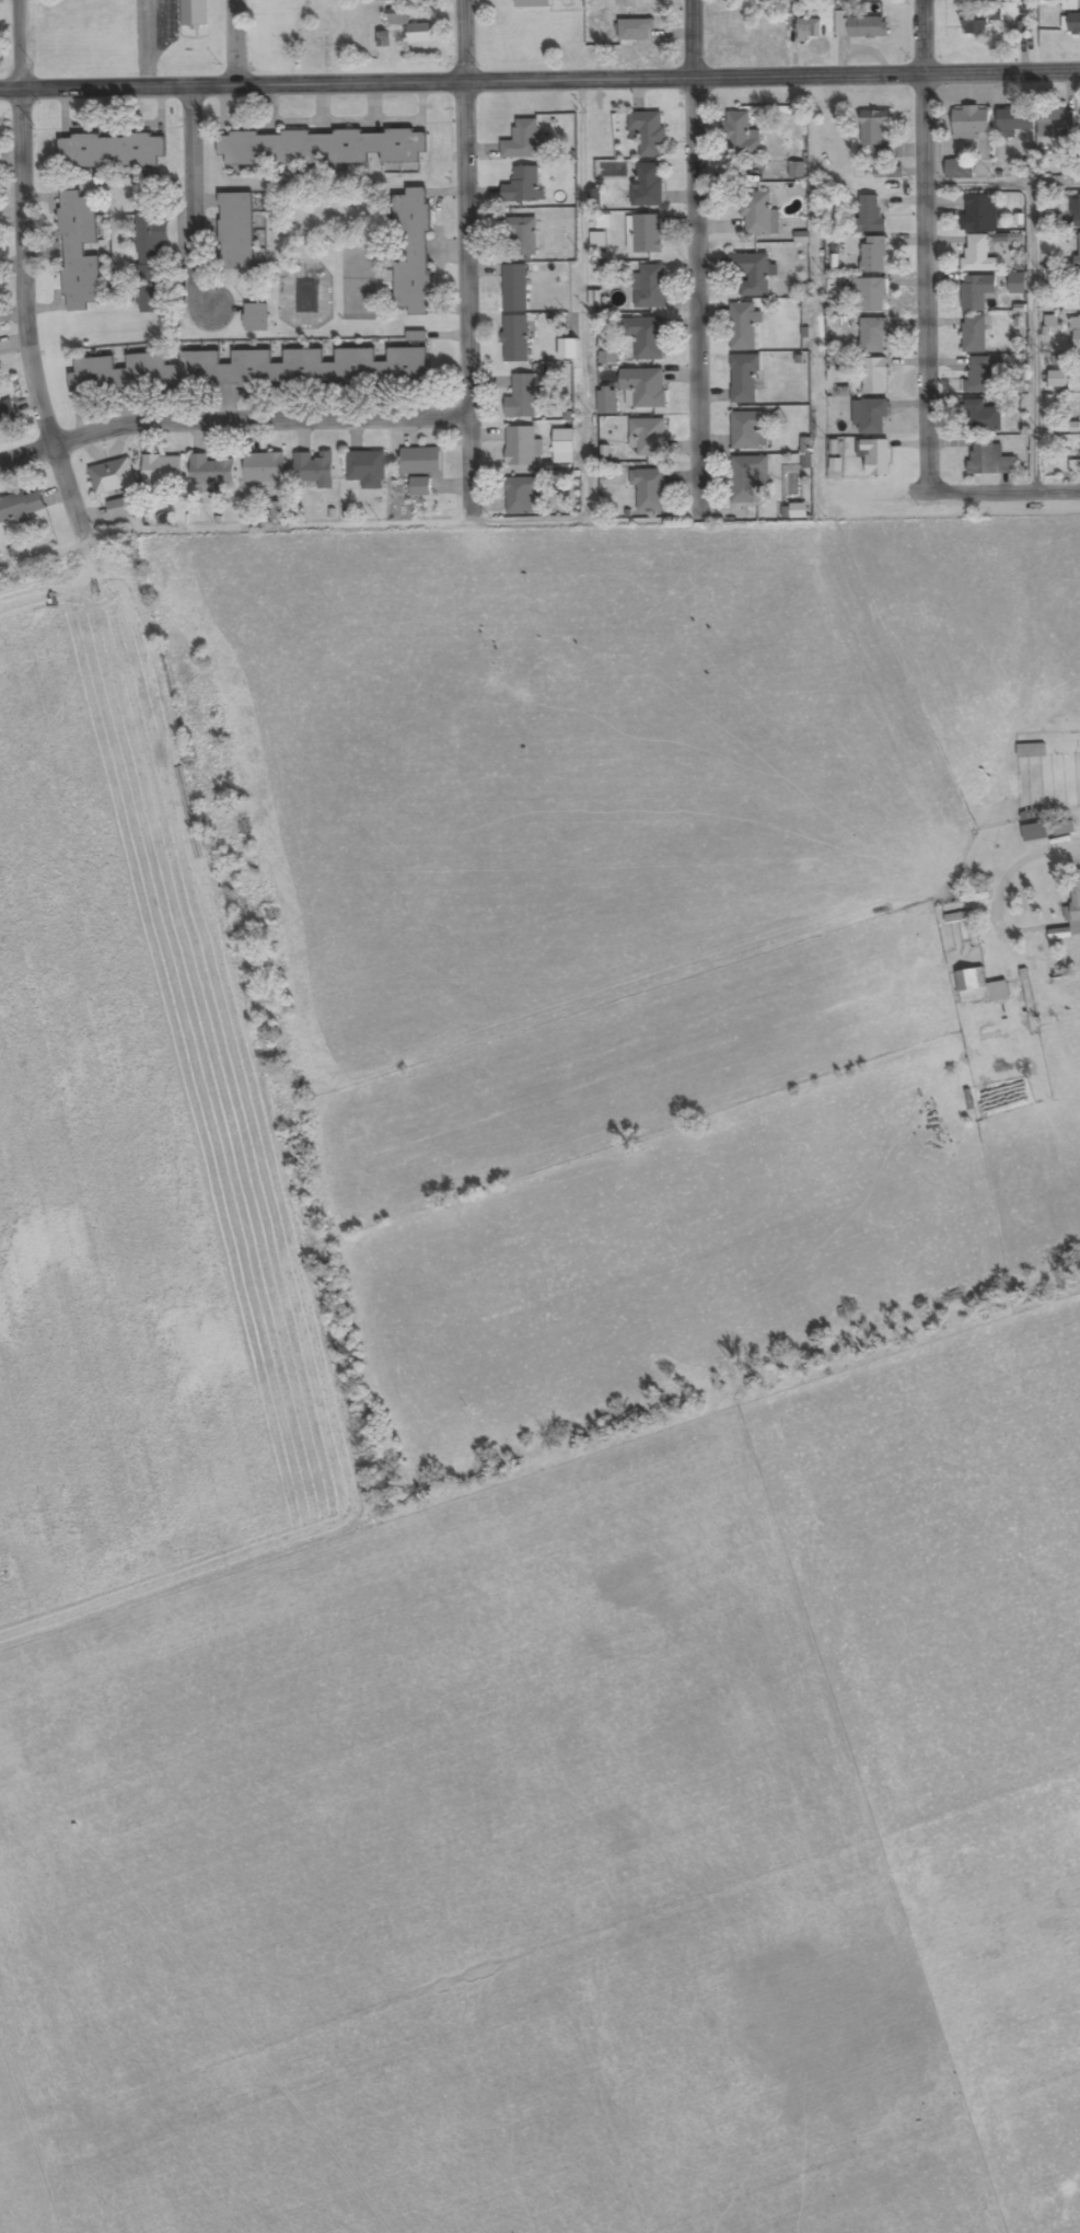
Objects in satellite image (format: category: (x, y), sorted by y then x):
building: (533, 3)
building: (194, 13)
building: (397, 18)
building: (978, 22)
building: (1071, 24)
building: (861, 28)
building: (636, 31)
building: (808, 31)
building: (420, 33)
building: (313, 34)
road: (241, 44)
road: (539, 81)
building: (1055, 120)
building: (1014, 122)
building: (972, 123)
building: (874, 127)
building: (649, 131)
building: (741, 136)
building: (522, 140)
building: (320, 147)
building: (111, 151)
building: (960, 169)
building: (648, 184)
road: (1002, 184)
building: (523, 185)
road: (193, 198)
building: (1077, 211)
building: (979, 212)
building: (759, 215)
building: (869, 215)
building: (240, 231)
building: (647, 233)
building: (520, 235)
road: (925, 239)
road: (699, 242)
building: (413, 251)
building: (1078, 251)
building: (79, 252)
road: (469, 254)
building: (873, 254)
building: (978, 255)
building: (150, 262)
road: (20, 265)
building: (752, 273)
building: (1017, 284)
building: (650, 287)
building: (514, 288)
building: (977, 292)
building: (869, 294)
building: (255, 316)
building: (742, 326)
road: (1034, 332)
building: (1077, 333)
building: (974, 334)
building: (873, 335)
building: (646, 336)
building: (514, 338)
building: (569, 348)
building: (247, 369)
building: (979, 374)
building: (874, 375)
building: (744, 378)
building: (643, 386)
building: (522, 397)
building: (7, 415)
building: (873, 416)
building: (983, 417)
road: (232, 418)
building: (748, 429)
building: (650, 437)
building: (520, 446)
building: (874, 455)
building: (989, 459)
building: (420, 461)
building: (365, 466)
building: (263, 467)
building: (312, 468)
building: (162, 471)
building: (210, 471)
building: (113, 476)
building: (747, 477)
road: (901, 483)
building: (419, 487)
building: (649, 489)
building: (521, 495)
building: (21, 507)
building: (119, 508)
road: (1060, 609)
building: (1031, 751)
building: (1065, 829)
building: (1035, 832)
building: (1076, 902)
building: (960, 917)
building: (980, 986)

